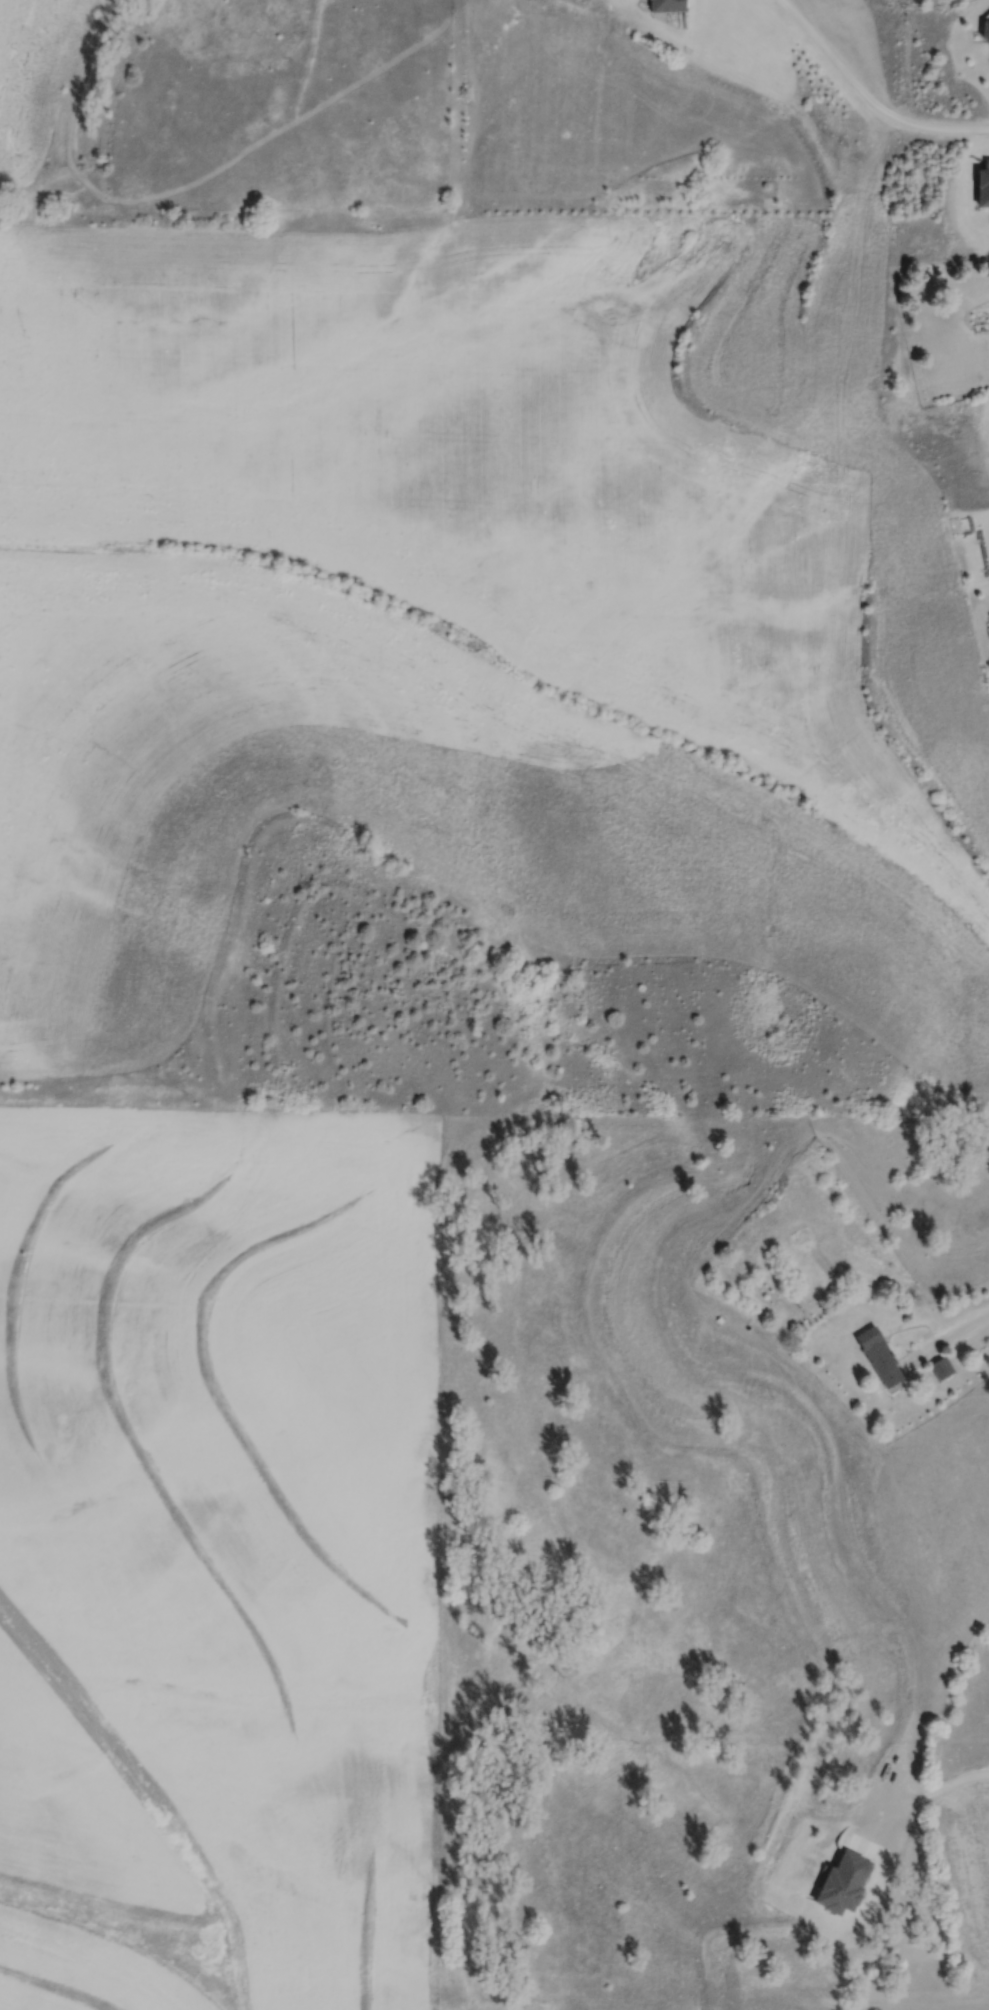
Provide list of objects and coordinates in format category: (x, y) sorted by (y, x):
building: (667, 5)
road: (867, 98)
road: (948, 1337)
building: (881, 1357)
building: (944, 1369)
road: (923, 1792)

